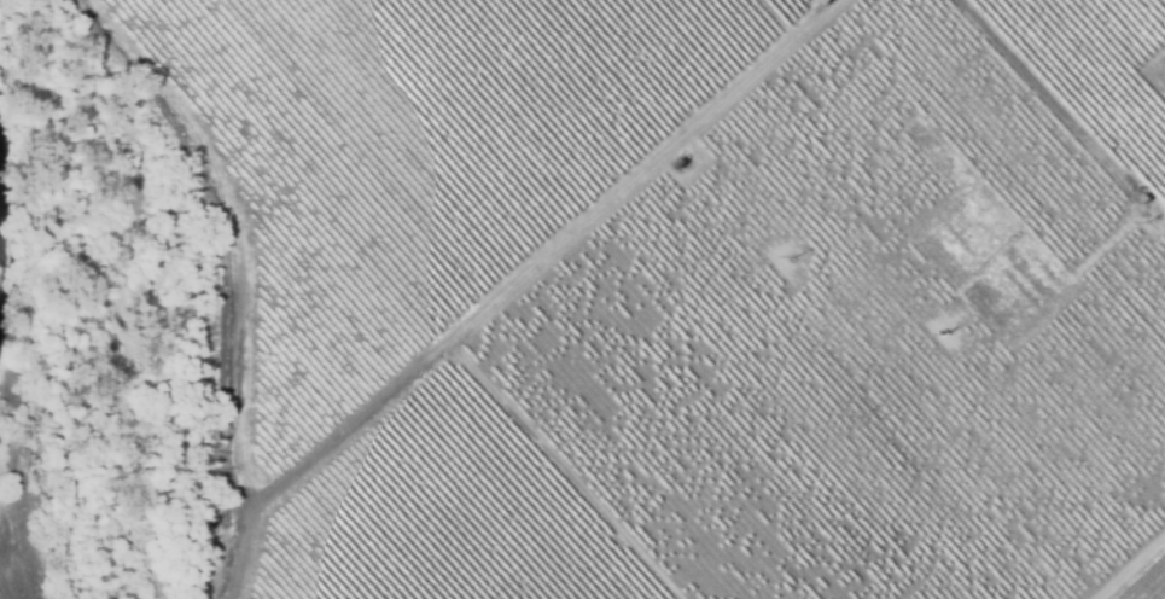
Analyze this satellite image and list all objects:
road: (733, 97)
building: (678, 162)

